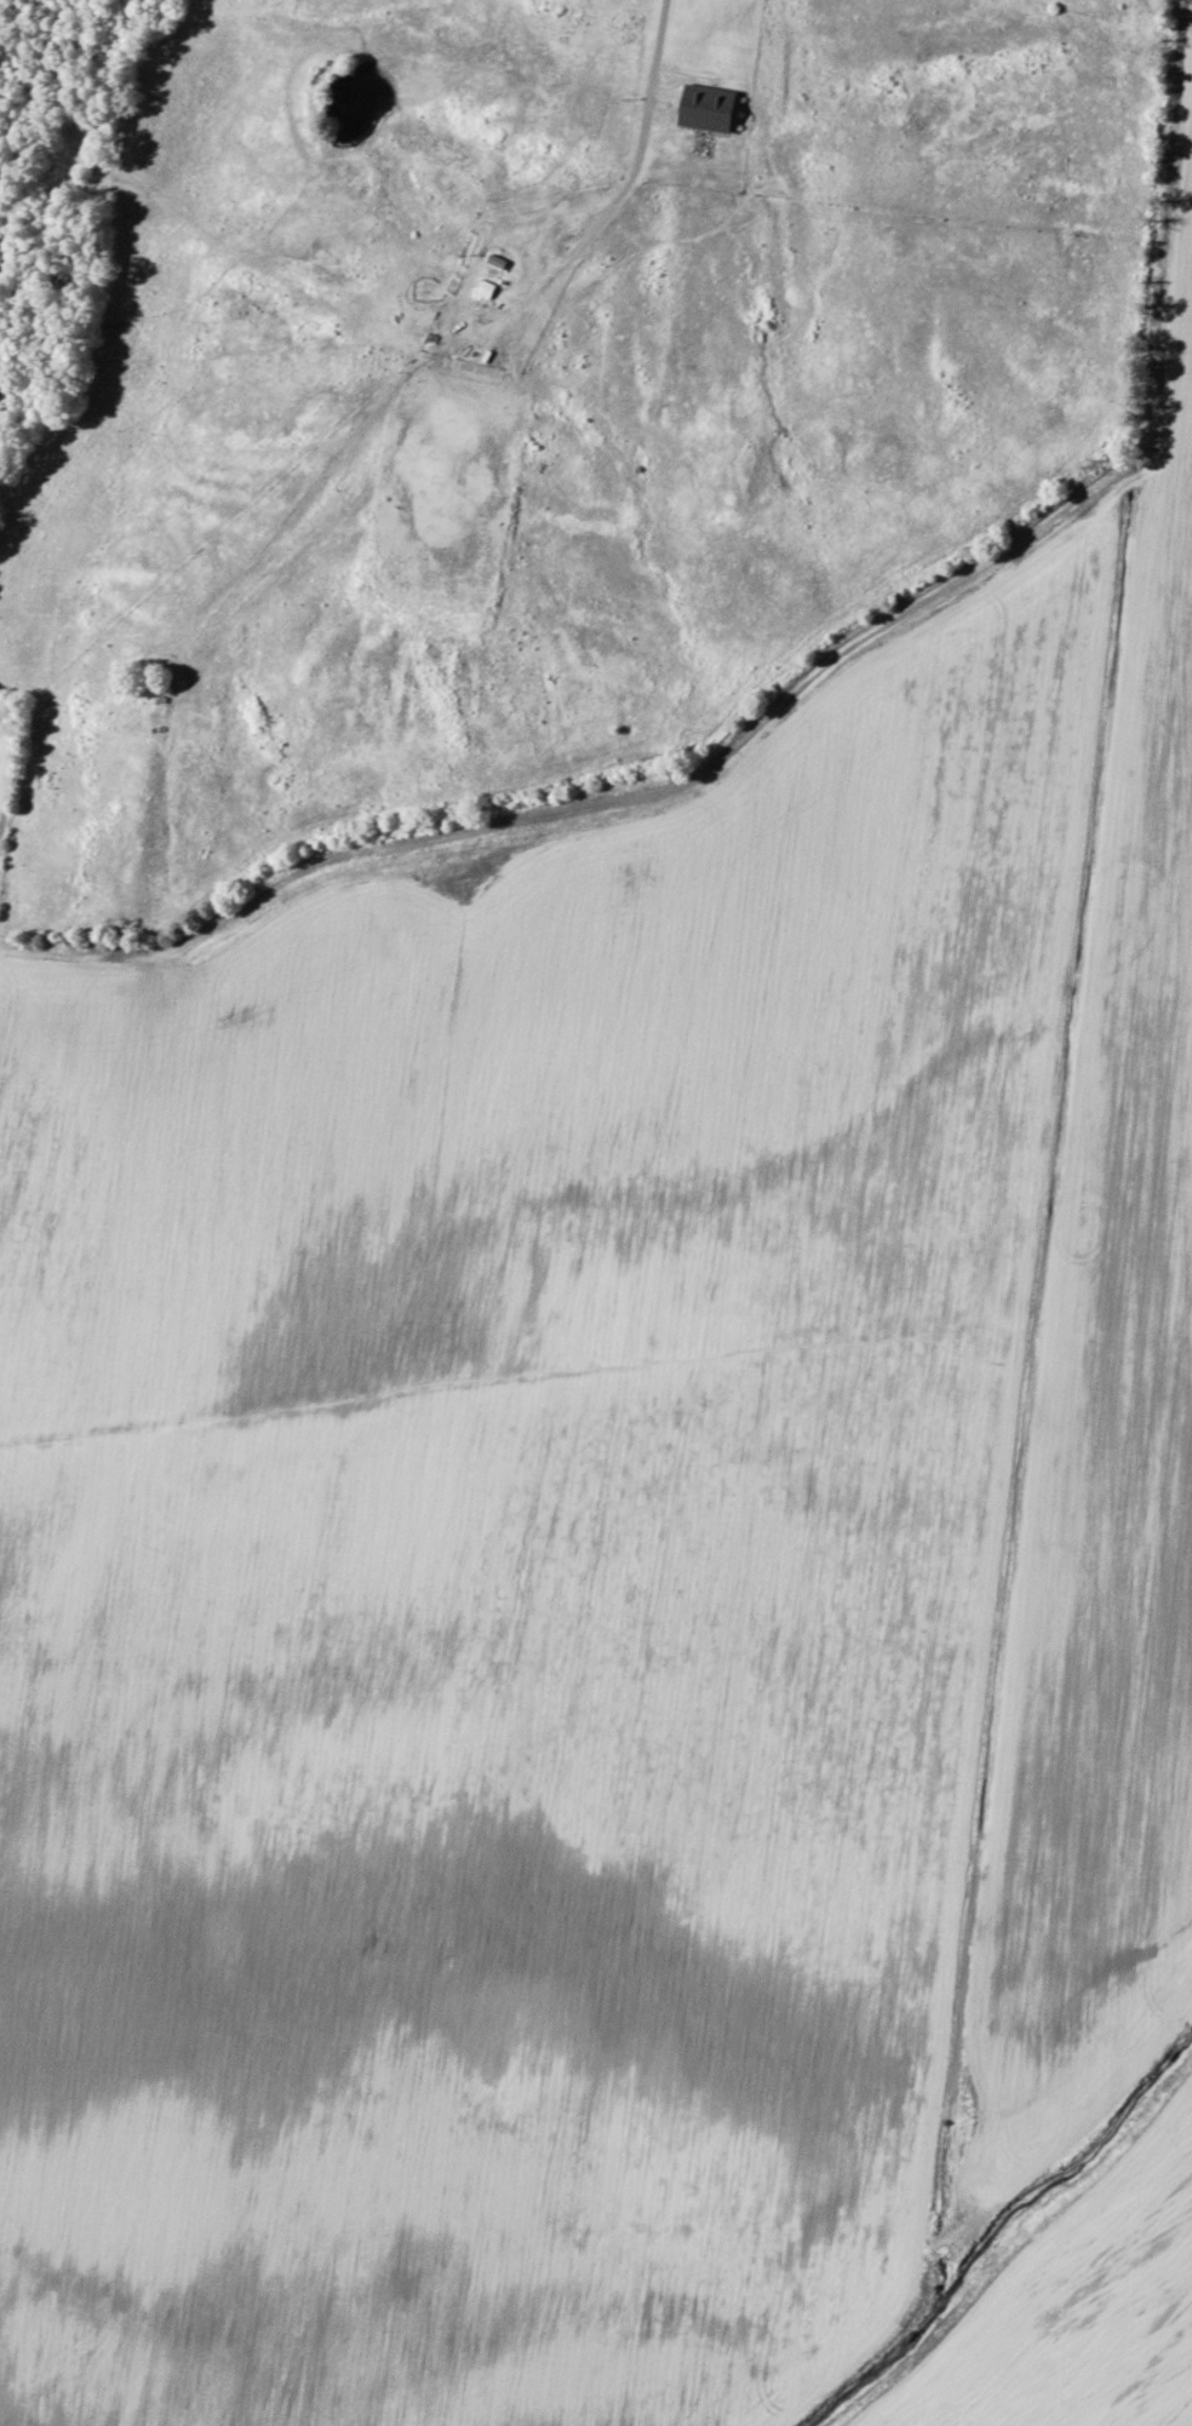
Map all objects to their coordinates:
building: (504, 263)

